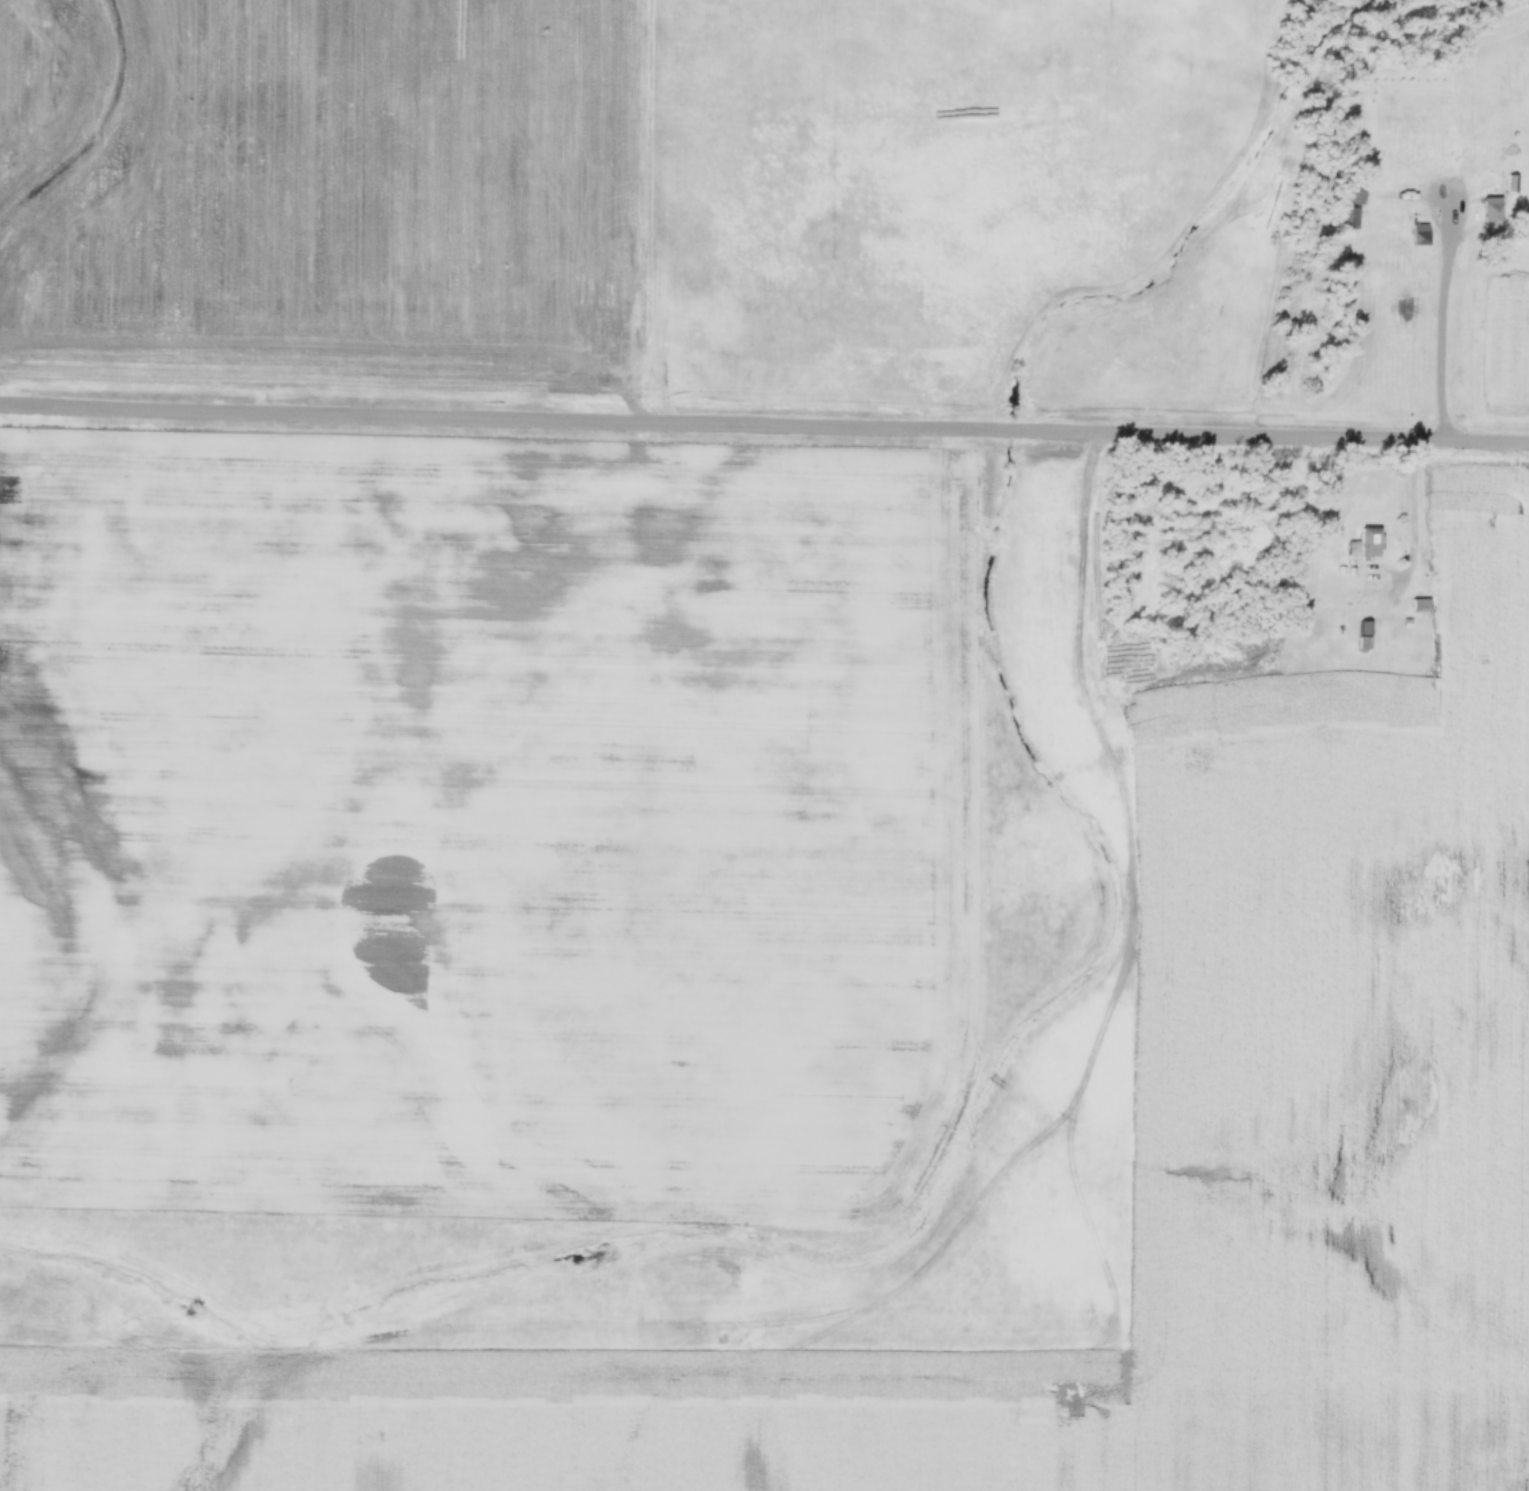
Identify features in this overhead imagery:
building: (1355, 195)
building: (1492, 215)
building: (1346, 218)
building: (1421, 234)
road: (1439, 338)
road: (764, 425)
building: (1371, 542)
building: (1411, 633)
building: (1365, 634)
building: (1384, 681)
building: (1454, 699)
building: (1327, 707)
building: (1273, 753)

